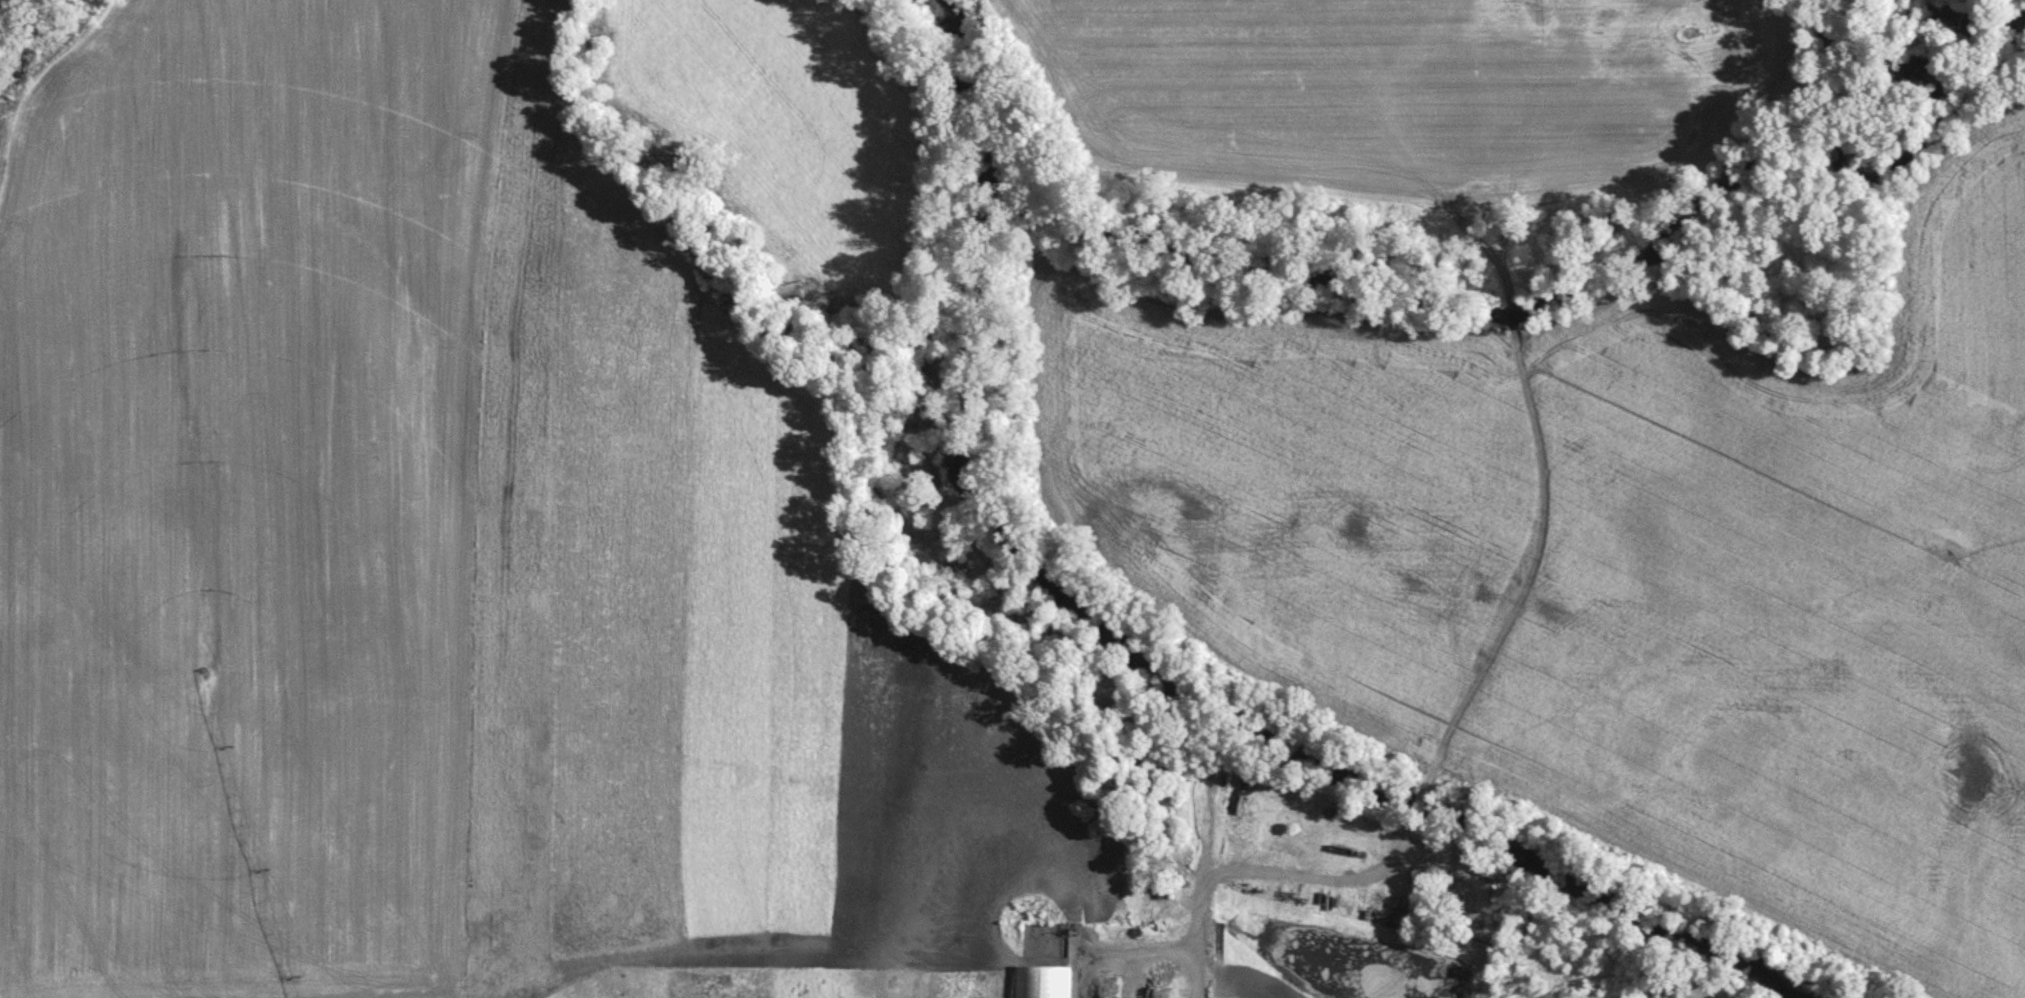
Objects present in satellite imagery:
river: (1159, 647)
building: (1046, 982)

